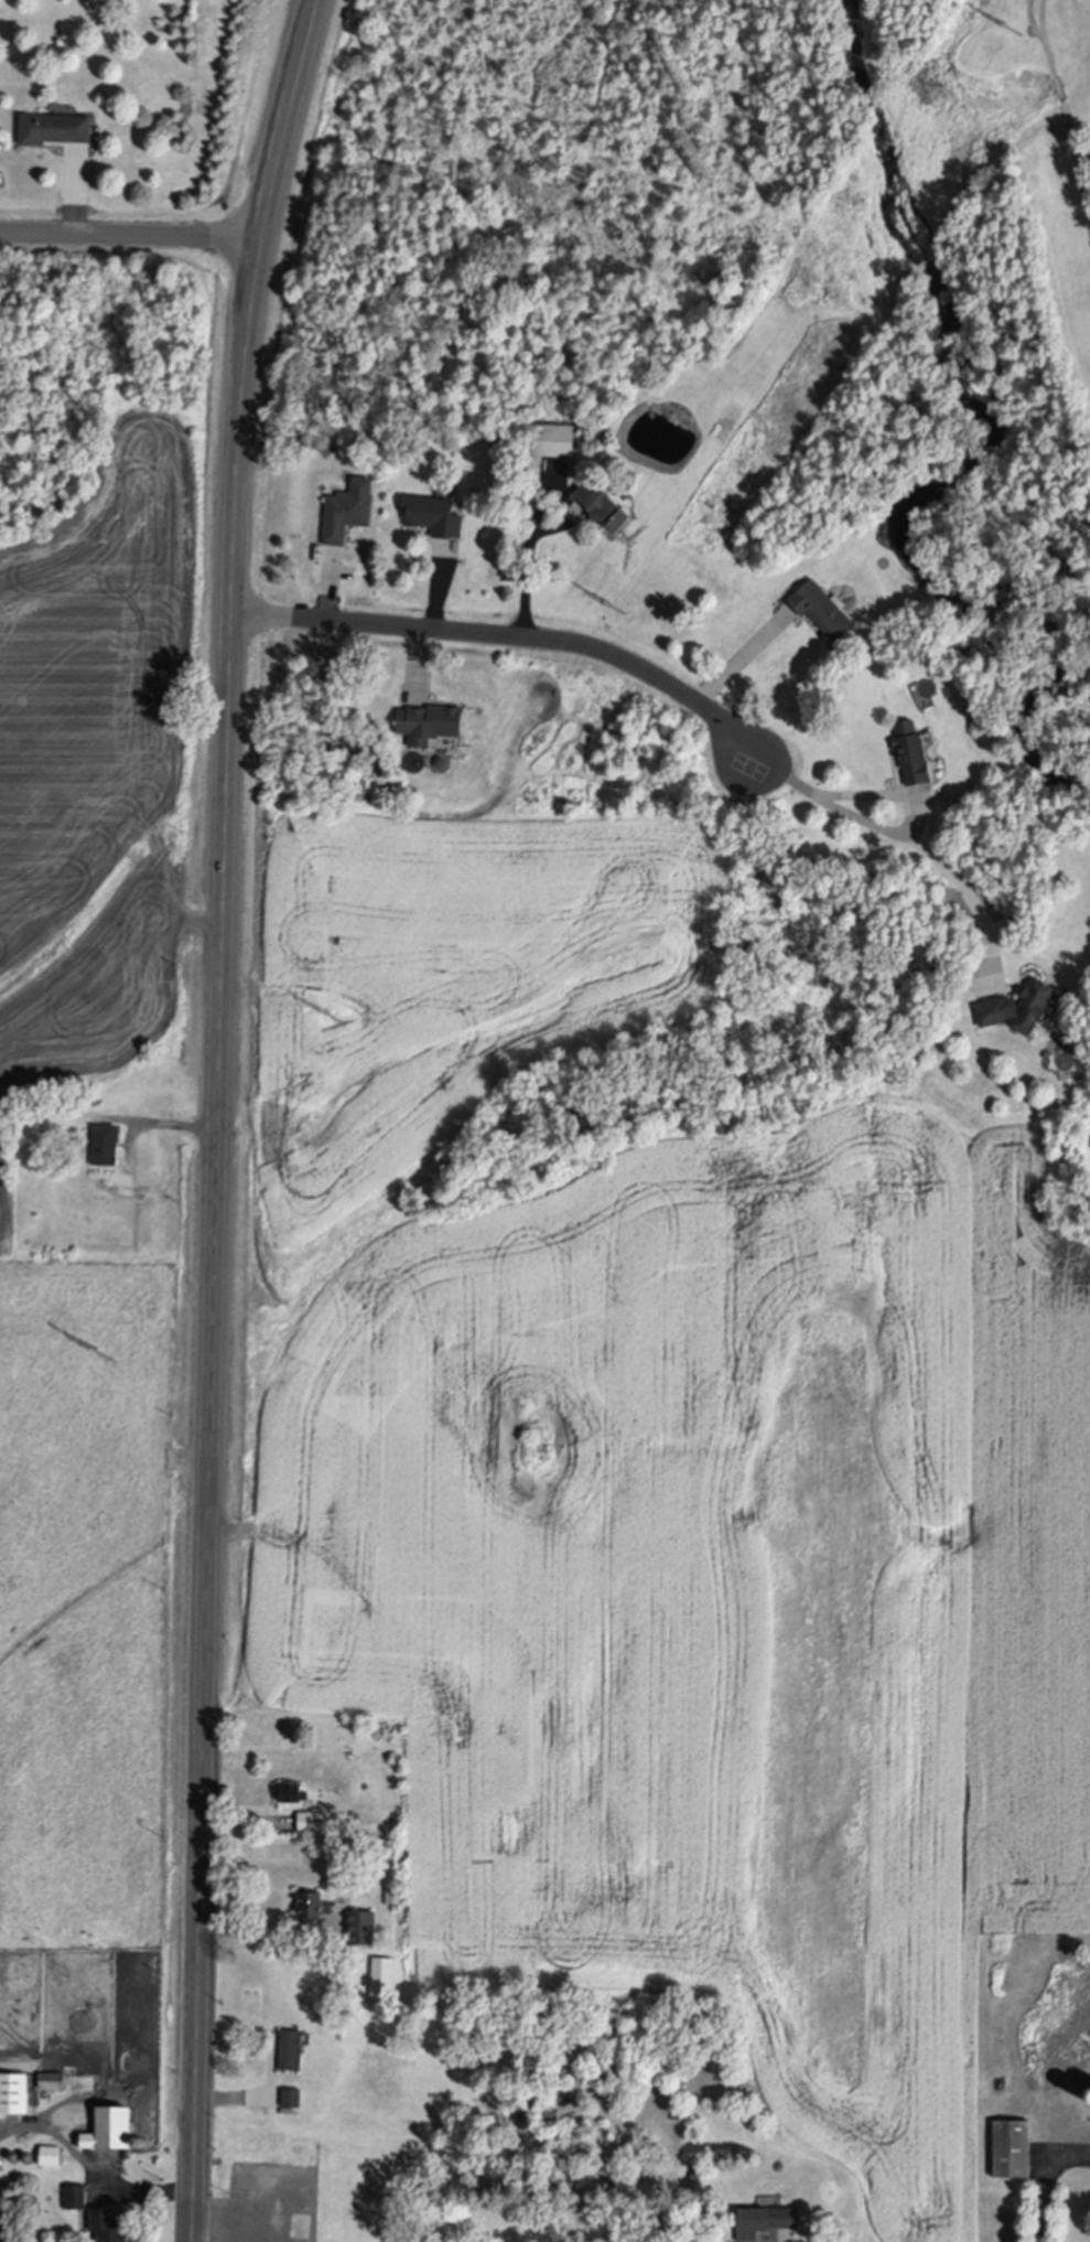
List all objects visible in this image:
power tower: (1014, 29)
building: (55, 133)
park: (1027, 161)
road: (131, 238)
building: (551, 447)
building: (498, 448)
building: (602, 516)
building: (433, 521)
building: (345, 522)
road: (528, 556)
road: (327, 587)
road: (433, 588)
power tower: (619, 605)
building: (822, 619)
road: (503, 637)
road: (743, 662)
road: (418, 673)
building: (430, 729)
quarry: (107, 736)
building: (85, 762)
building: (911, 763)
park: (744, 770)
road: (884, 796)
road: (908, 844)
power tower: (335, 1013)
building: (1018, 1020)
road: (220, 1116)
road: (159, 1125)
building: (104, 1138)
power tower: (104, 1351)
building: (292, 1787)
building: (312, 1817)
building: (389, 1891)
building: (310, 1900)
building: (361, 1923)
road: (267, 1932)
building: (382, 1973)
building: (1071, 2017)
building: (290, 2046)
building: (52, 2078)
building: (14, 2089)
building: (1089, 2093)
building: (291, 2094)
building: (110, 2124)
building: (139, 2141)
building: (1012, 2144)
building: (50, 2153)
building: (13, 2156)
building: (26, 2157)
road: (90, 2170)
building: (695, 2173)
road: (1045, 2180)
building: (293, 2191)
building: (74, 2193)
building: (763, 2217)
building: (110, 2224)
road: (239, 2234)

